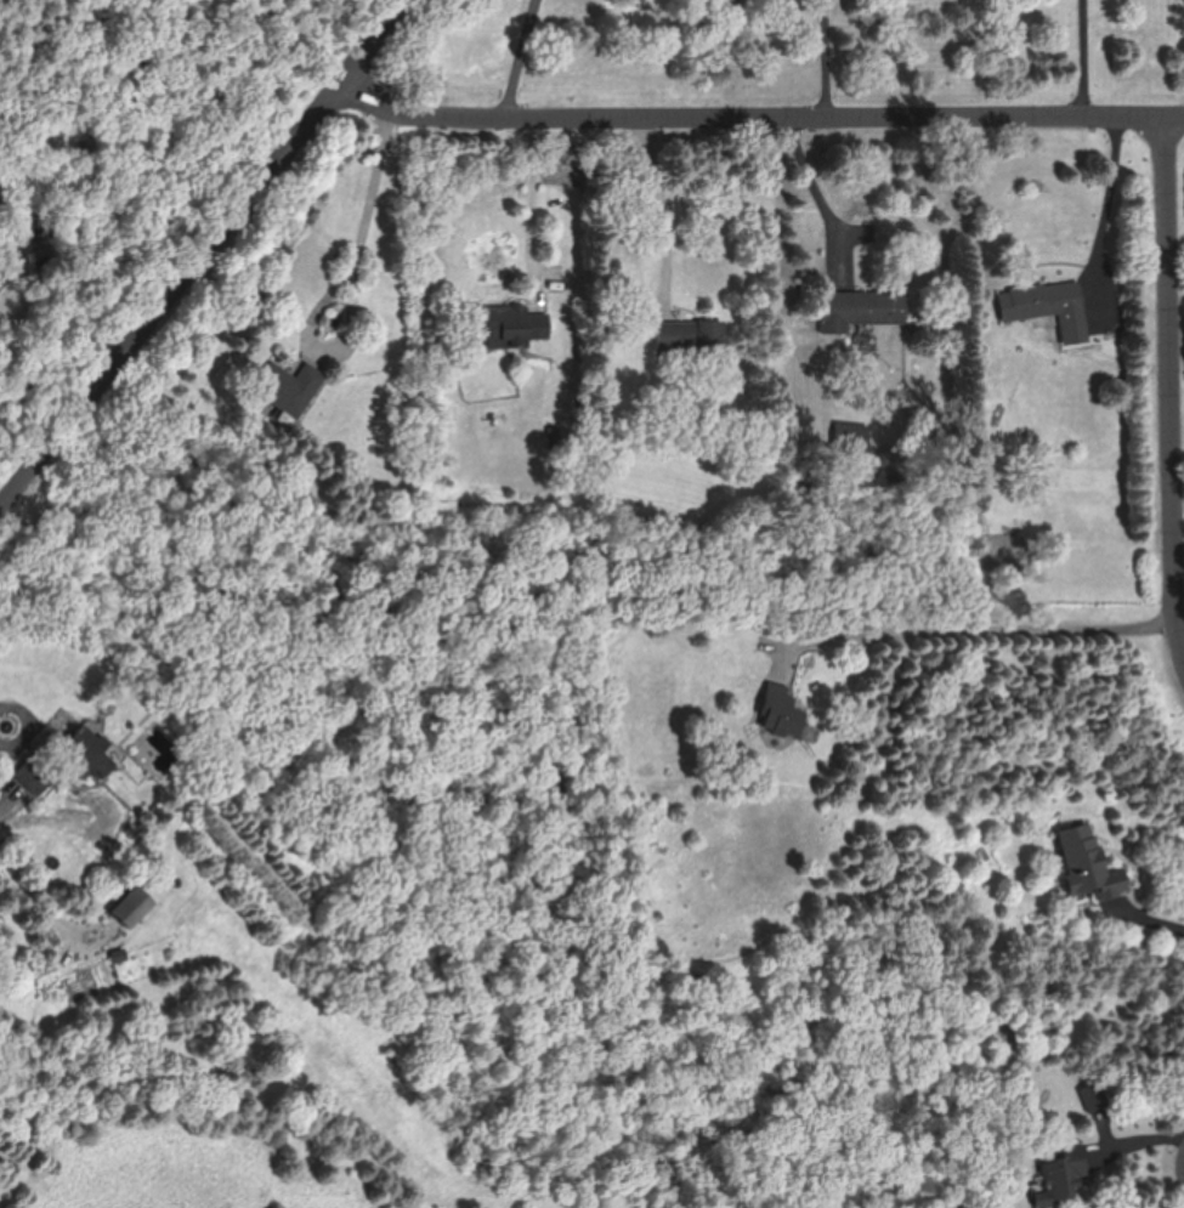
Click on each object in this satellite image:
road: (1088, 59)
road: (521, 61)
road: (829, 61)
road: (759, 121)
road: (370, 195)
road: (1109, 202)
road: (529, 216)
road: (661, 216)
road: (973, 221)
road: (199, 248)
building: (15, 259)
building: (1048, 307)
building: (861, 308)
road: (346, 323)
building: (516, 325)
building: (691, 335)
road: (1174, 382)
building: (290, 387)
road: (974, 629)
road: (39, 653)
building: (780, 713)
building: (91, 753)
building: (34, 777)
road: (6, 778)
building: (1090, 863)
building: (132, 906)
road: (53, 912)
road: (1133, 921)
building: (1090, 1099)
building: (1064, 1173)

